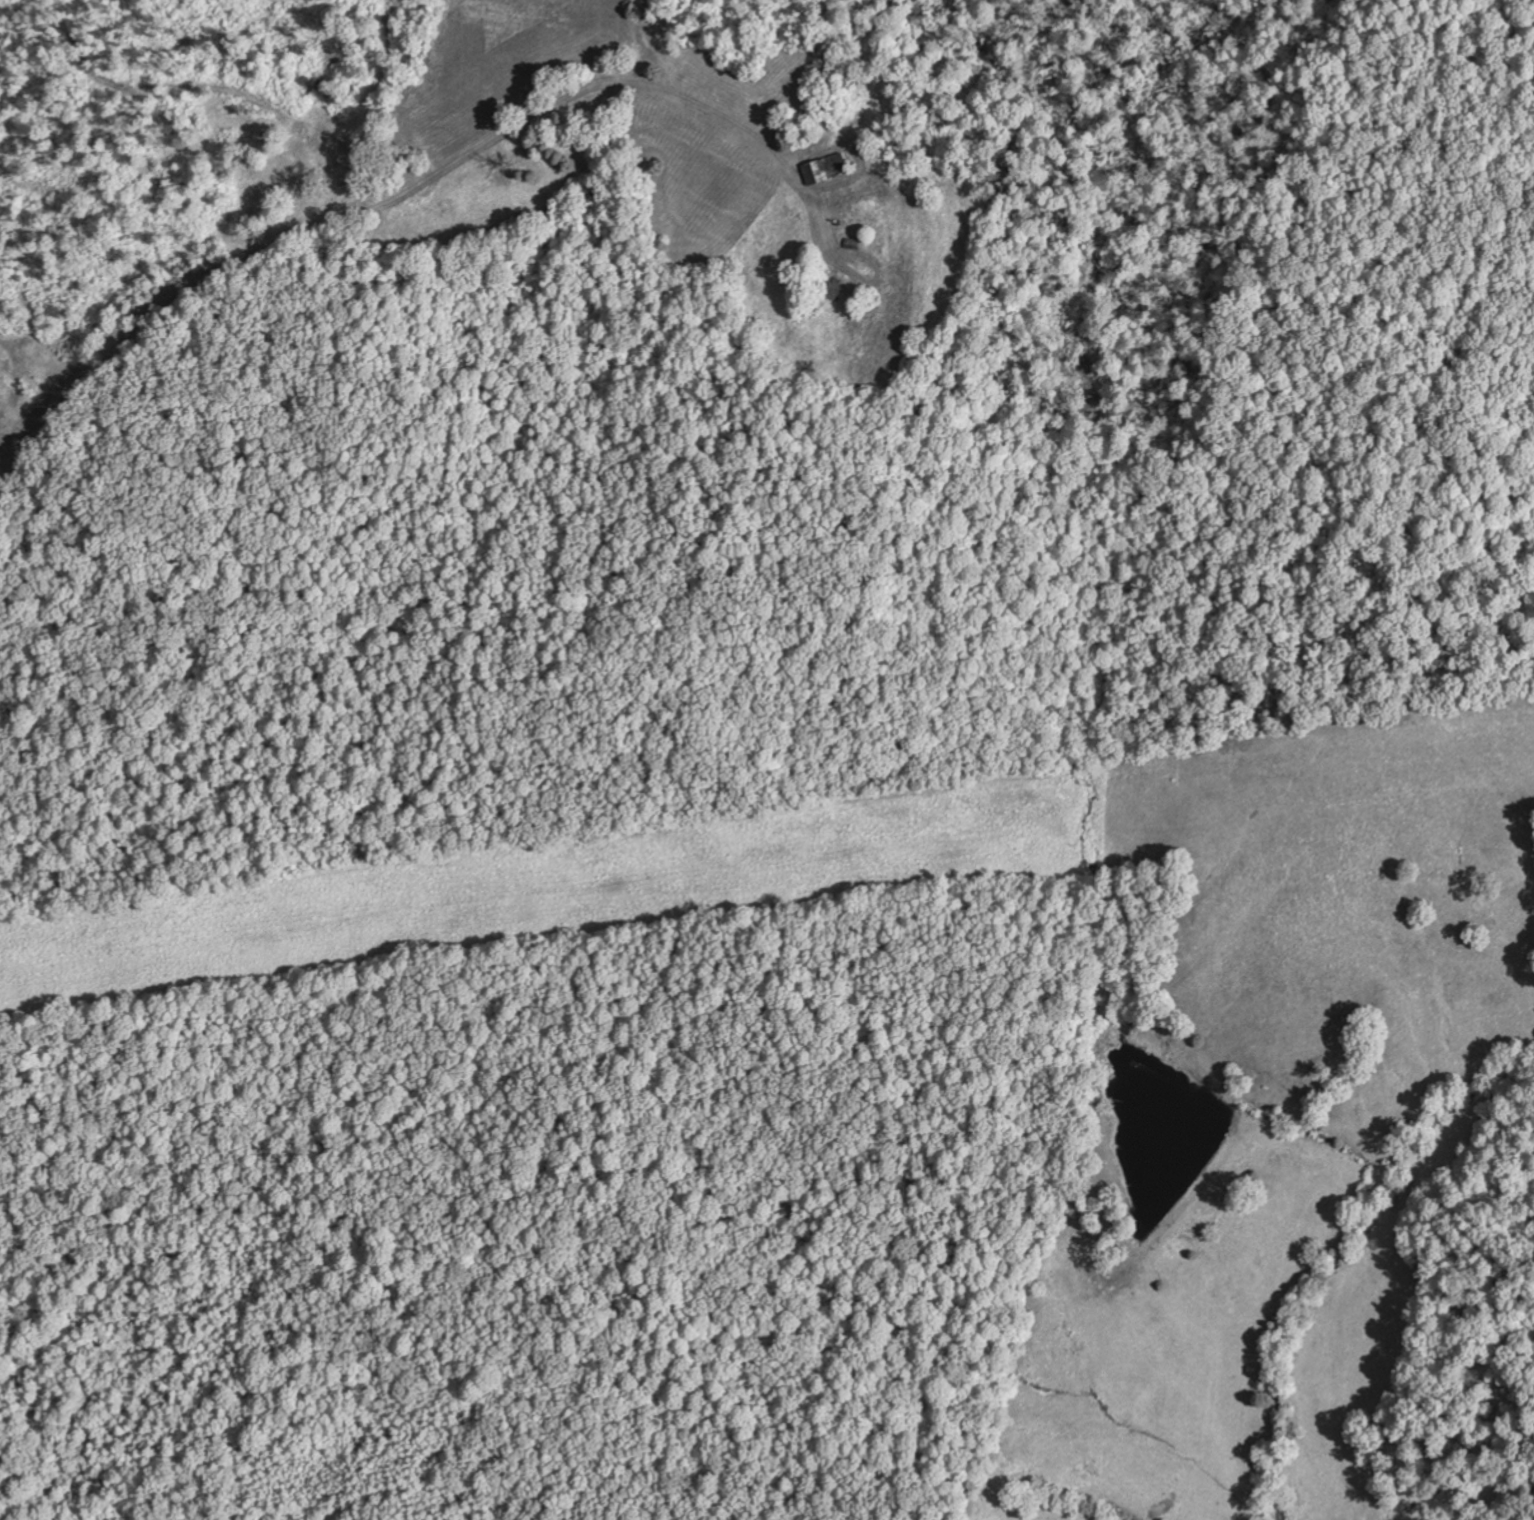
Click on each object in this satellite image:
building: (825, 168)

